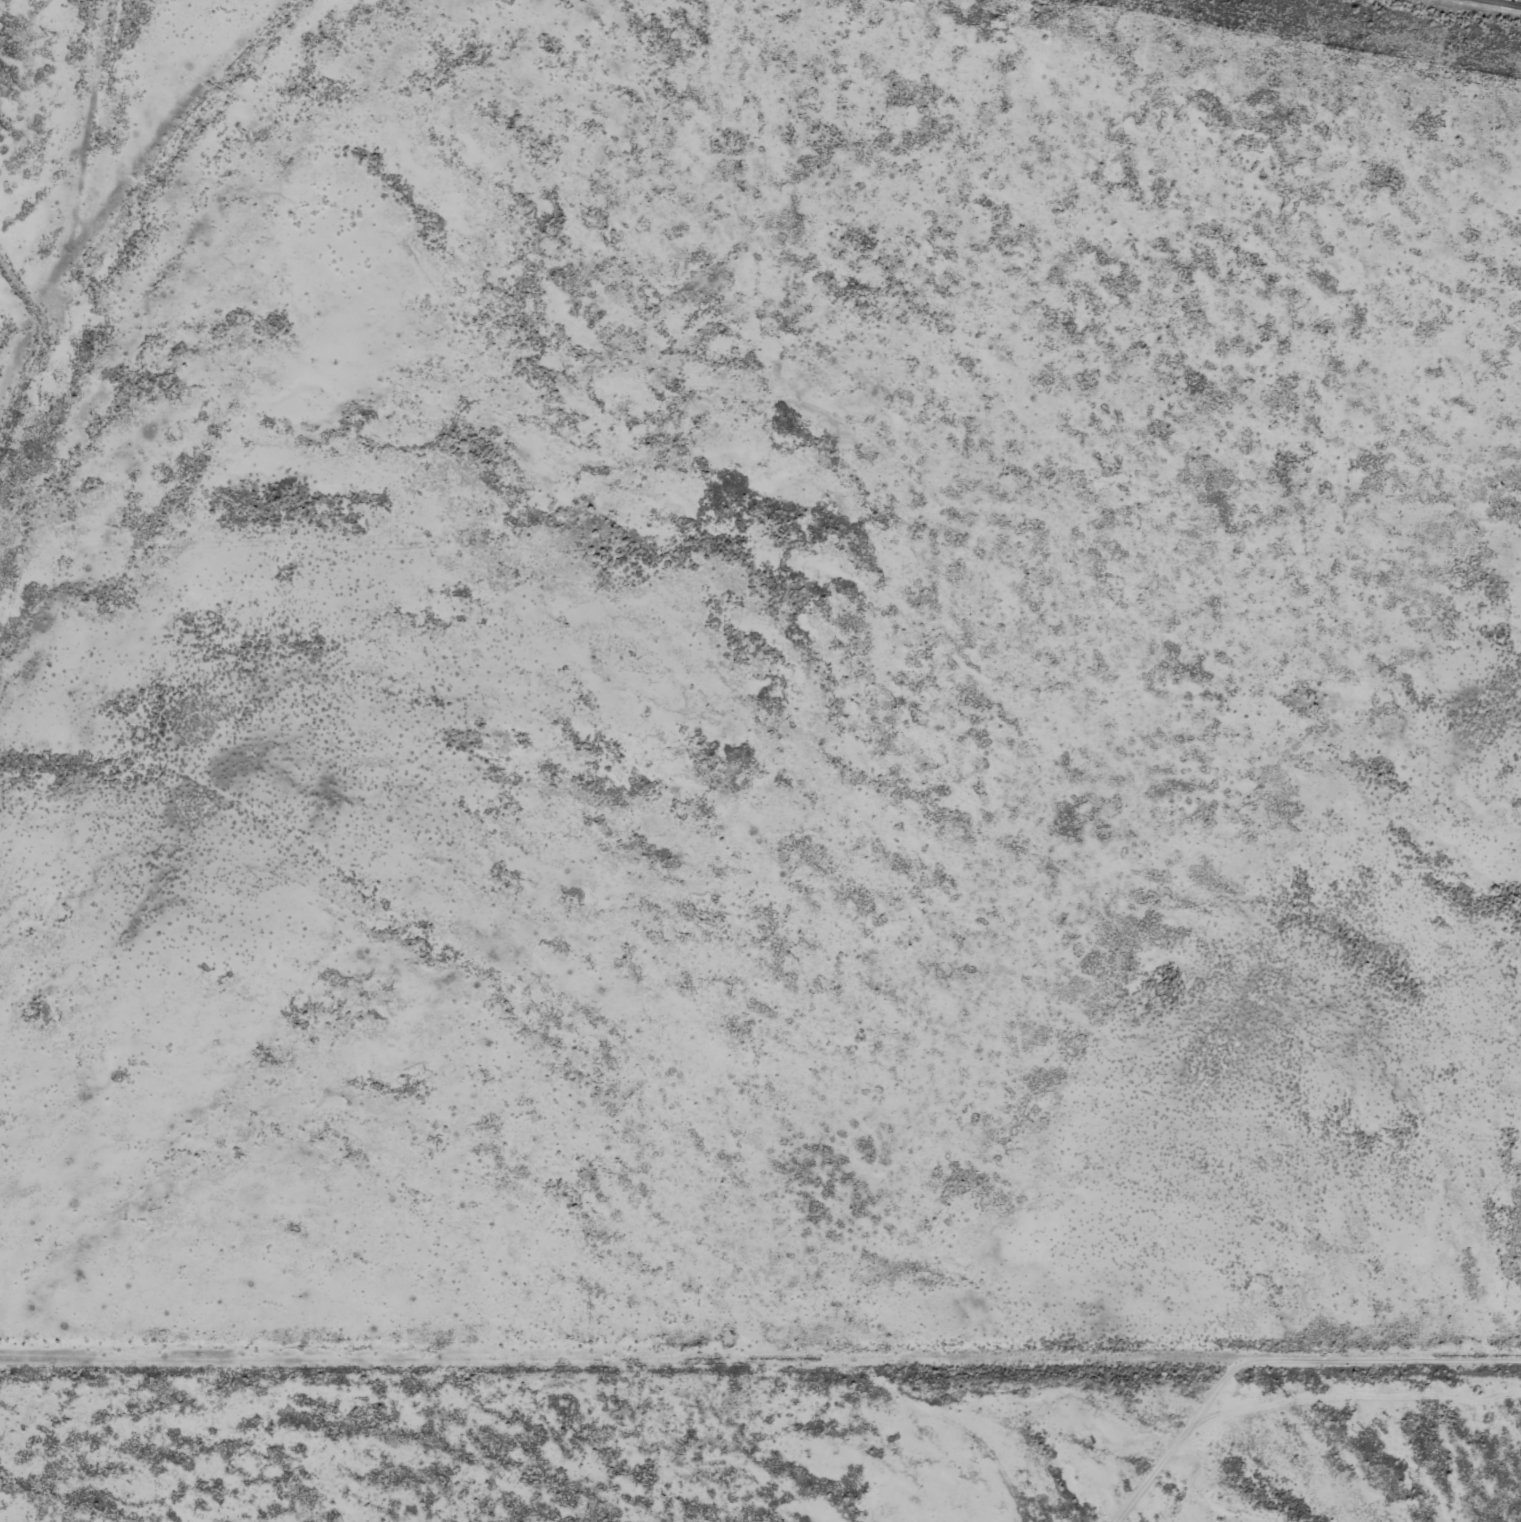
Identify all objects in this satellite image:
road: (1518, 0)

